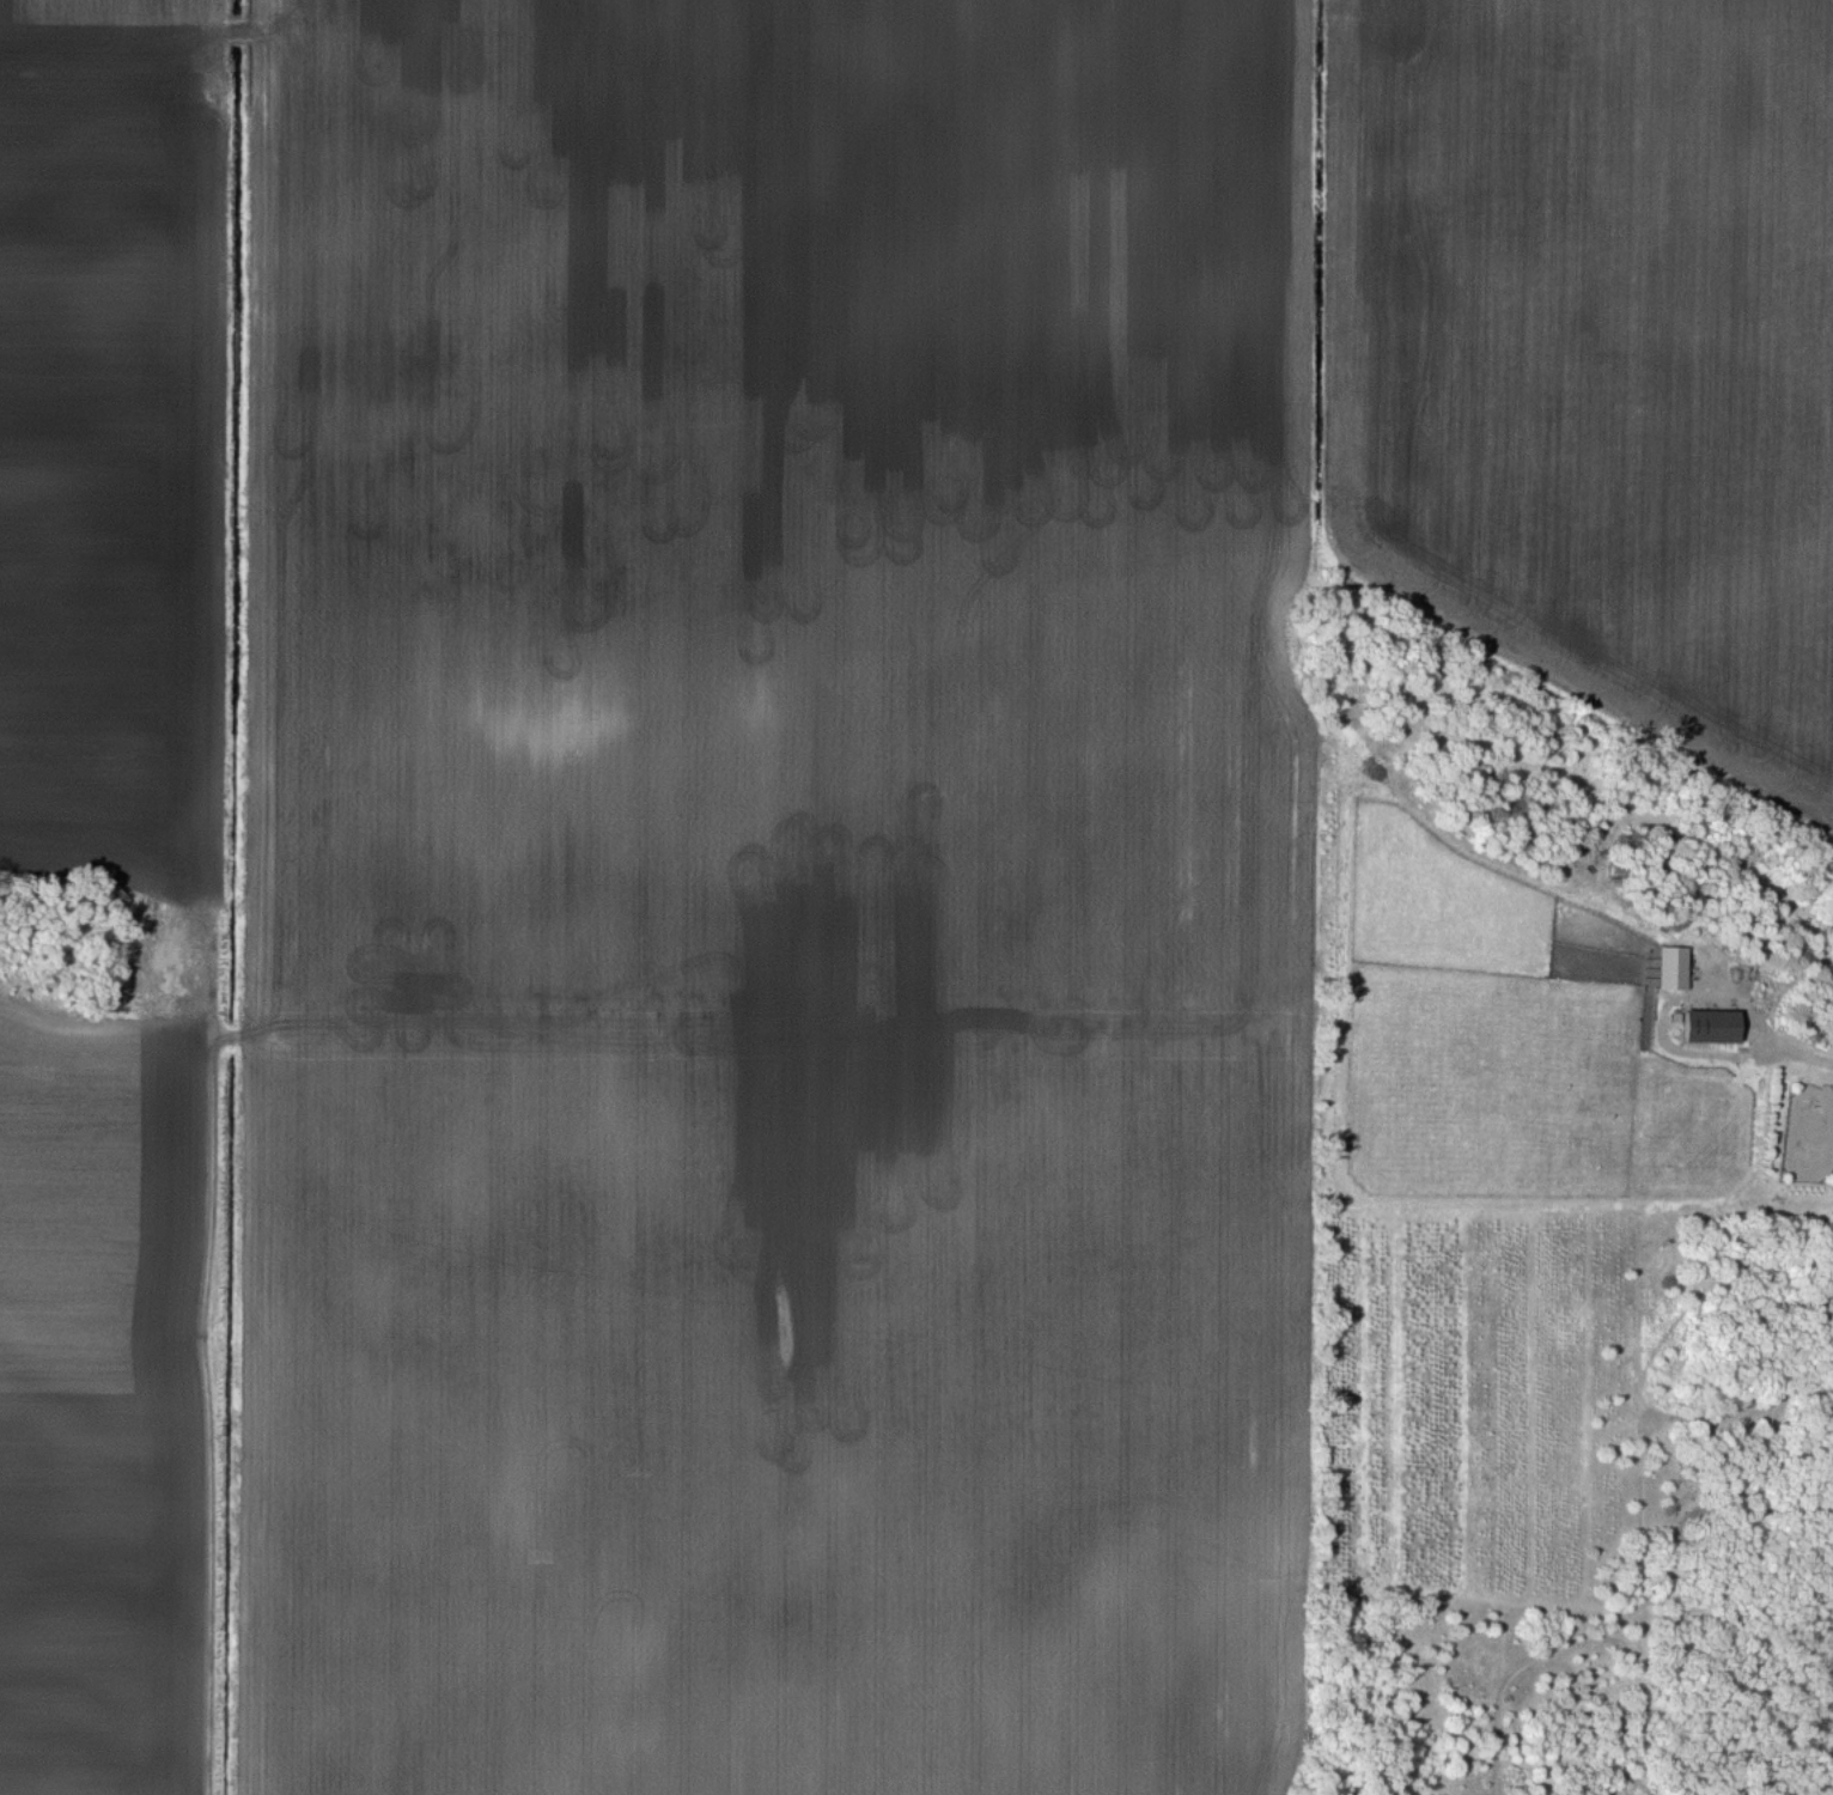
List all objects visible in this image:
building: (1671, 969)
building: (1707, 1028)

